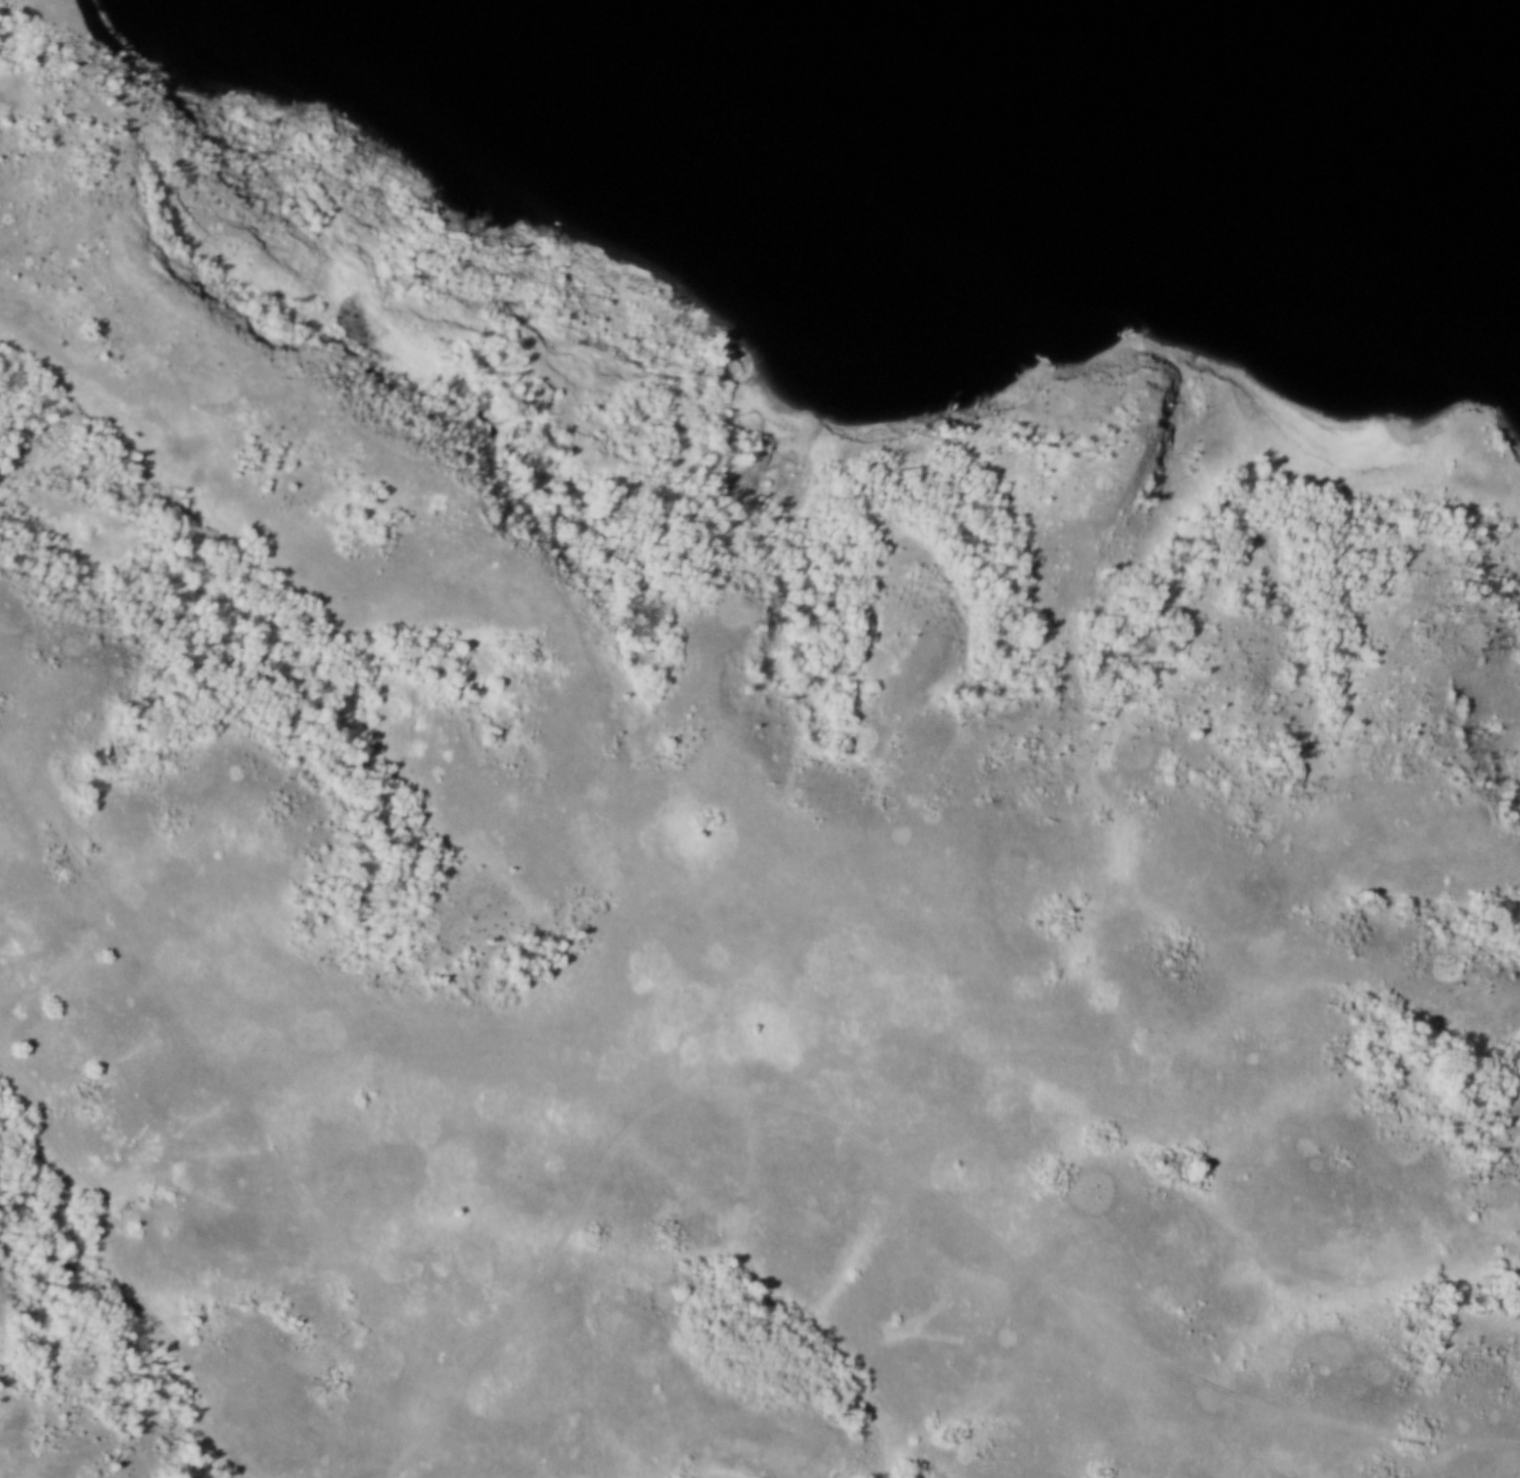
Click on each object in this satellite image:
road: (890, 1164)

